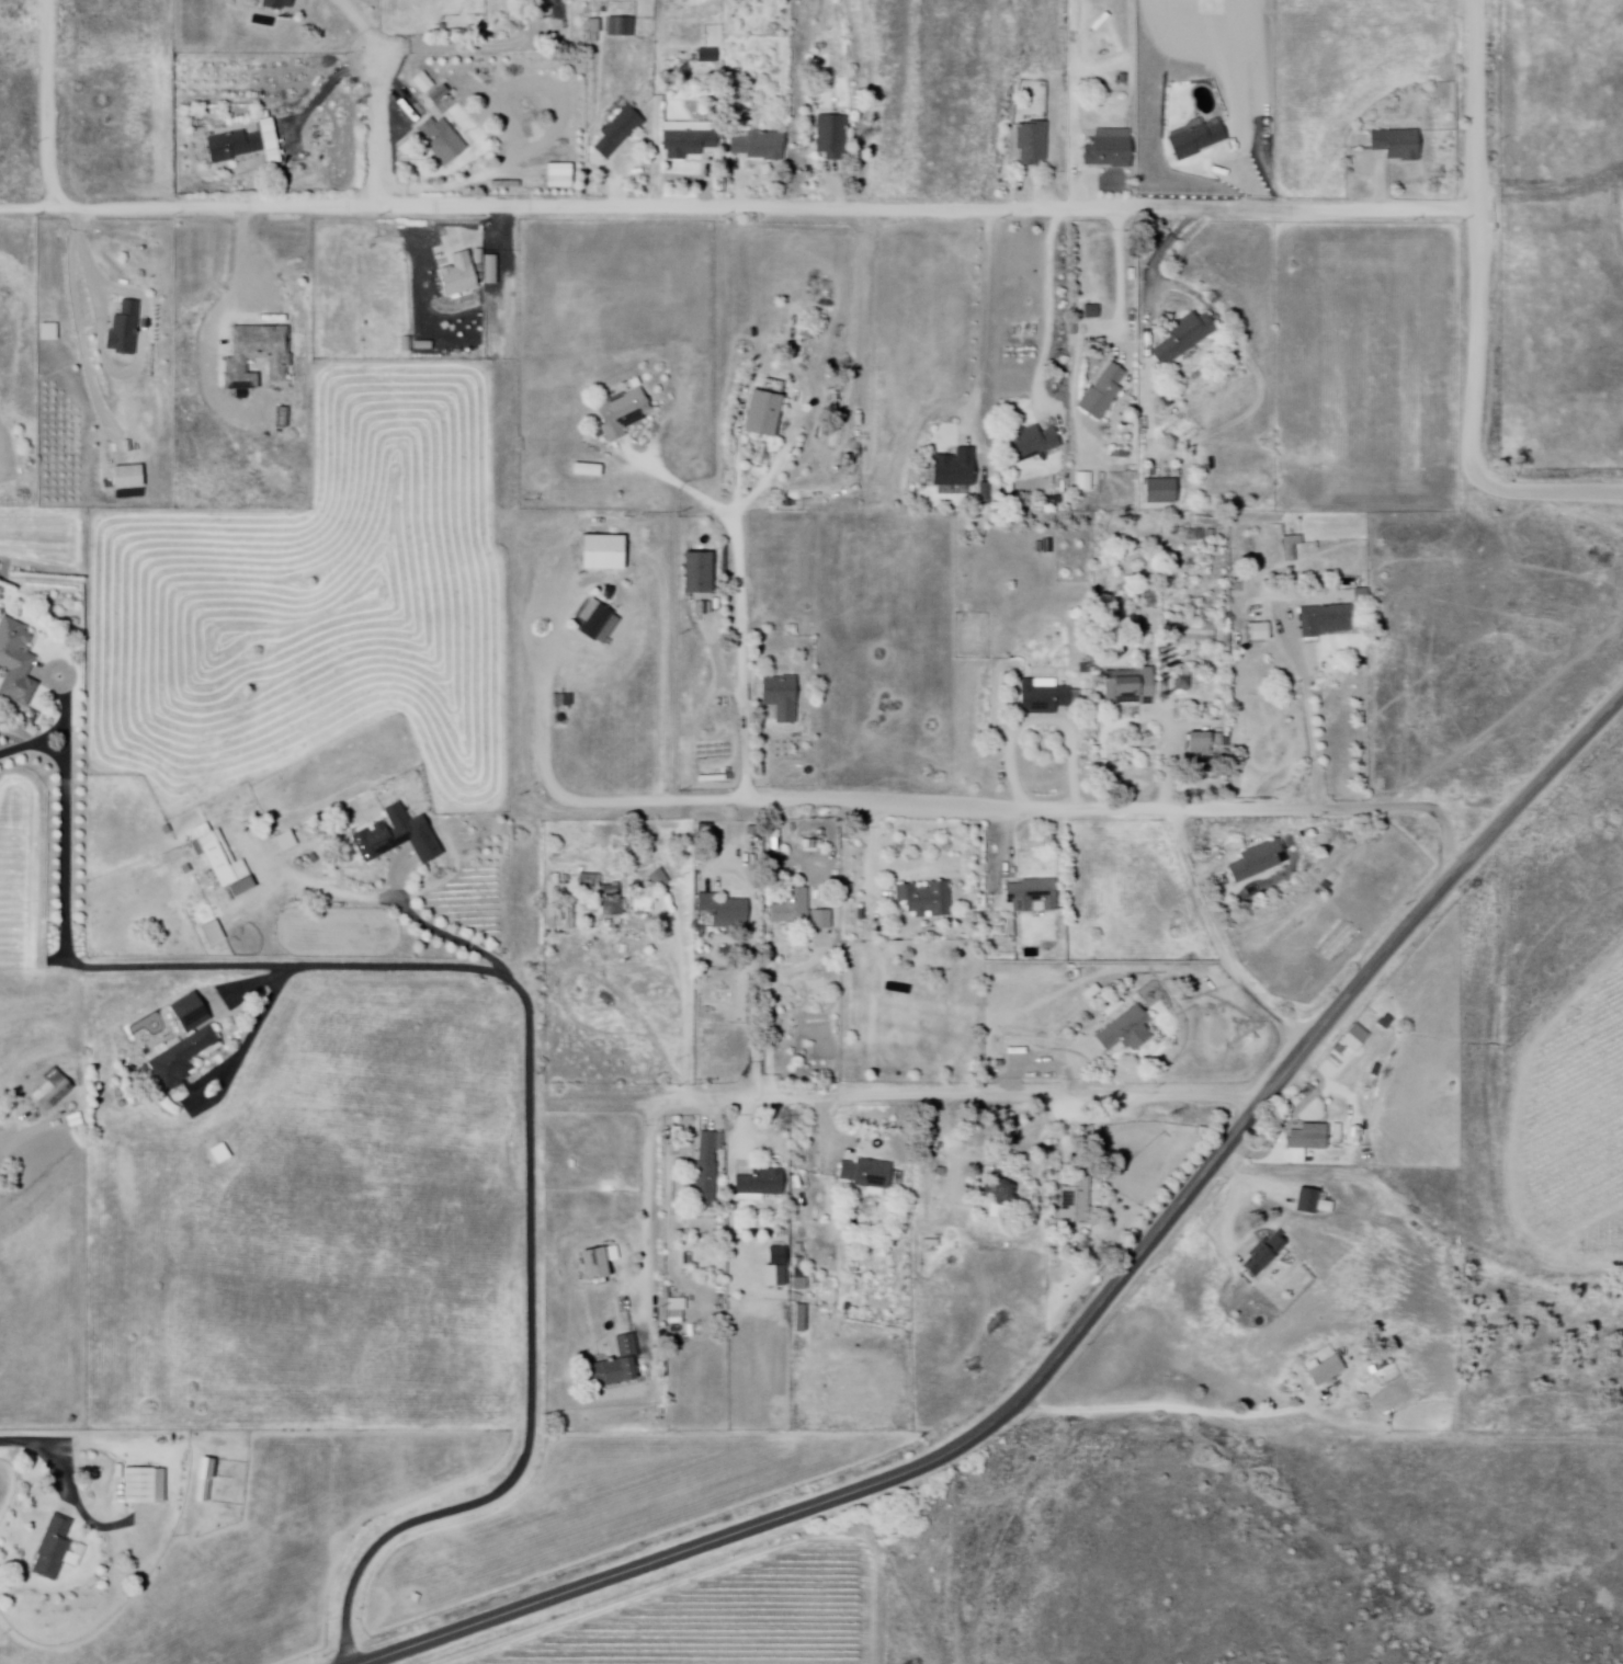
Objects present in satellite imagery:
building: (279, 3)
road: (360, 23)
building: (622, 24)
building: (592, 30)
road: (407, 46)
building: (707, 57)
building: (423, 83)
road: (49, 107)
road: (371, 129)
building: (621, 130)
building: (832, 136)
building: (443, 138)
building: (1196, 138)
building: (688, 141)
building: (1033, 141)
building: (1400, 144)
building: (761, 145)
building: (235, 147)
building: (1111, 148)
building: (559, 175)
road: (737, 209)
road: (249, 253)
road: (84, 254)
road: (1165, 254)
building: (457, 274)
road: (1121, 277)
road: (1053, 309)
road: (1477, 309)
road: (986, 321)
building: (126, 330)
building: (1189, 337)
building: (257, 358)
road: (508, 360)
building: (1103, 391)
building: (767, 414)
building: (622, 415)
building: (285, 418)
road: (0, 428)
building: (1033, 443)
building: (956, 468)
building: (129, 478)
building: (1083, 480)
building: (1164, 491)
building: (1291, 548)
building: (697, 572)
road: (745, 599)
building: (598, 619)
building: (1327, 619)
building: (1261, 630)
building: (1200, 637)
building: (15, 647)
building: (587, 659)
building: (1130, 686)
building: (29, 688)
building: (783, 698)
building: (1047, 698)
building: (563, 700)
road: (1045, 716)
road: (1308, 723)
building: (1201, 742)
road: (964, 806)
building: (167, 830)
building: (401, 835)
road: (874, 853)
building: (270, 858)
building: (1258, 862)
building: (225, 864)
building: (186, 868)
building: (659, 878)
building: (1035, 896)
building: (611, 899)
building: (927, 899)
building: (644, 903)
building: (727, 911)
building: (802, 913)
building: (214, 932)
road: (446, 936)
road: (1221, 943)
road: (686, 1004)
road: (530, 1010)
building: (189, 1013)
building: (1128, 1030)
building: (181, 1059)
road: (1075, 1071)
building: (53, 1090)
road: (862, 1096)
building: (1093, 1136)
building: (1310, 1137)
building: (1188, 1151)
building: (217, 1156)
building: (870, 1172)
building: (942, 1172)
building: (704, 1174)
building: (763, 1182)
building: (1077, 1199)
building: (1306, 1201)
building: (999, 1209)
building: (932, 1242)
building: (1009, 1245)
building: (1262, 1255)
building: (801, 1262)
building: (703, 1264)
building: (778, 1266)
building: (801, 1272)
building: (803, 1285)
building: (601, 1290)
building: (677, 1303)
building: (677, 1318)
building: (802, 1318)
road: (1087, 1318)
building: (676, 1330)
building: (615, 1367)
building: (1326, 1372)
building: (205, 1477)
road: (69, 1481)
building: (145, 1483)
building: (54, 1549)

